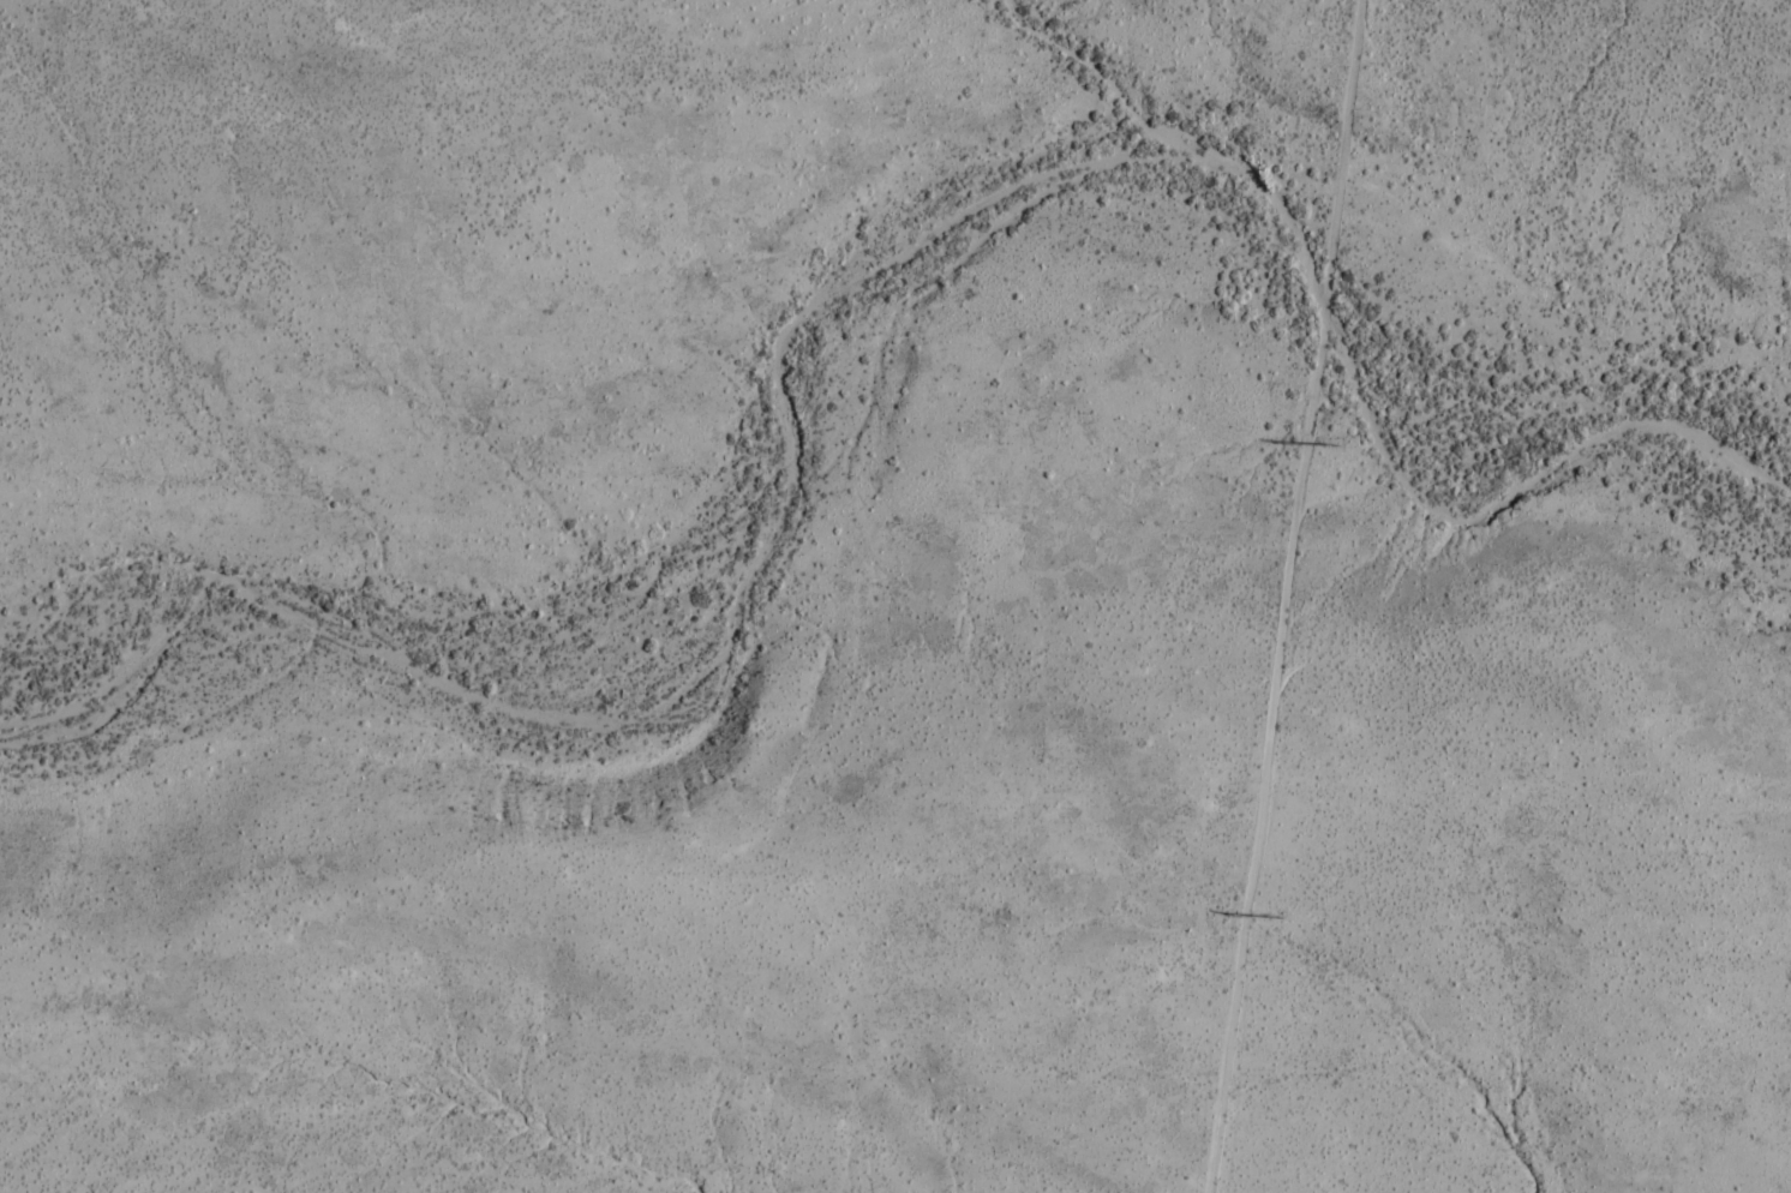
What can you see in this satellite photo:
power tower: (1330, 442)
road: (1280, 596)
power tower: (1270, 911)

